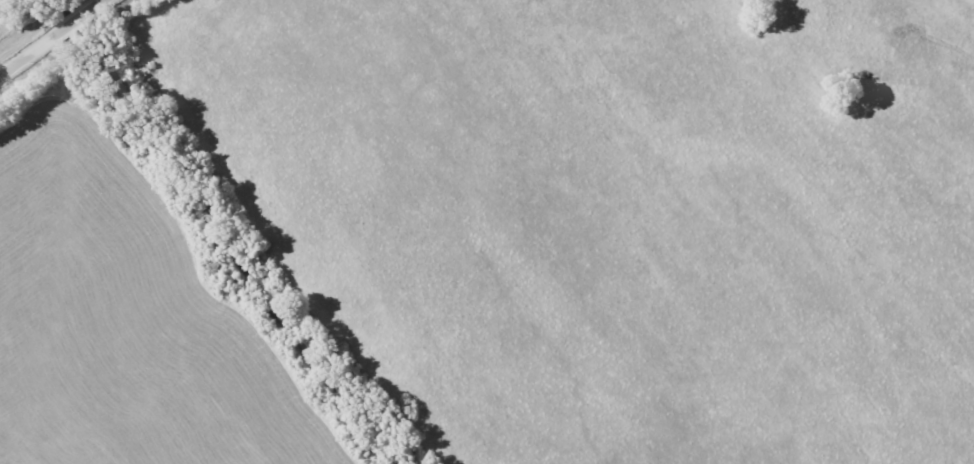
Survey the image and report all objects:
road: (53, 39)

